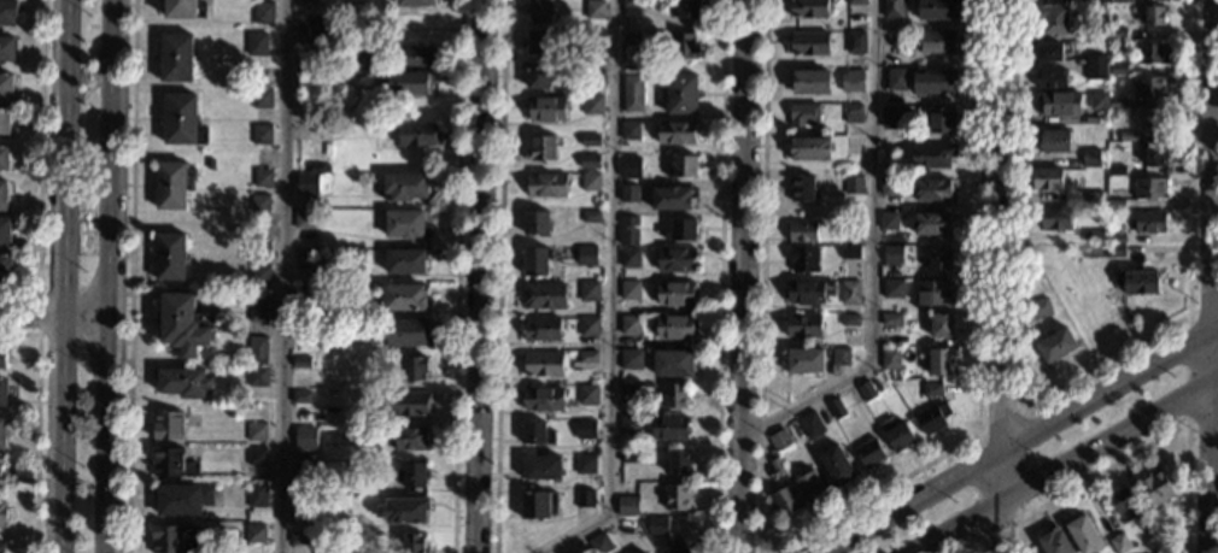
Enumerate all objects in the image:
building: (306, 0)
building: (1120, 0)
building: (855, 1)
building: (414, 2)
building: (631, 2)
building: (595, 4)
building: (892, 7)
building: (183, 8)
building: (686, 8)
building: (809, 8)
building: (937, 8)
building: (539, 10)
building: (7, 12)
building: (263, 12)
building: (1154, 14)
building: (1052, 19)
building: (308, 28)
building: (1096, 31)
building: (595, 34)
building: (1117, 34)
building: (889, 36)
building: (632, 37)
building: (538, 41)
building: (938, 41)
building: (809, 42)
building: (855, 42)
building: (257, 43)
building: (683, 46)
building: (7, 48)
building: (1048, 52)
building: (1150, 53)
building: (420, 55)
building: (176, 58)
building: (306, 60)
building: (578, 65)
building: (1095, 66)
building: (1117, 69)
building: (538, 75)
building: (853, 75)
building: (896, 78)
building: (1049, 78)
building: (311, 81)
building: (809, 81)
building: (406, 82)
building: (932, 82)
building: (6, 86)
building: (1150, 87)
building: (632, 92)
building: (681, 94)
building: (262, 98)
building: (1058, 101)
building: (1097, 101)
building: (1117, 101)
building: (592, 105)
building: (545, 108)
building: (312, 111)
building: (851, 113)
building: (803, 114)
building: (892, 117)
building: (181, 119)
building: (1156, 119)
building: (941, 120)
building: (4, 122)
building: (630, 130)
building: (312, 131)
building: (675, 131)
building: (262, 134)
building: (418, 134)
building: (1128, 136)
building: (590, 140)
building: (1054, 141)
building: (851, 145)
building: (539, 148)
building: (808, 148)
building: (932, 155)
building: (1154, 155)
building: (1090, 157)
building: (4, 158)
building: (590, 160)
building: (631, 160)
road: (39, 164)
building: (681, 165)
building: (315, 167)
building: (1115, 170)
building: (262, 177)
building: (1044, 177)
building: (590, 181)
building: (889, 182)
building: (172, 183)
building: (308, 183)
building: (546, 184)
building: (853, 184)
building: (405, 186)
building: (1149, 188)
building: (801, 189)
building: (931, 190)
building: (630, 193)
building: (2, 195)
building: (672, 198)
building: (1095, 199)
building: (259, 202)
building: (1115, 205)
building: (591, 216)
building: (1053, 218)
building: (304, 219)
building: (628, 220)
building: (889, 220)
building: (535, 222)
building: (1149, 222)
building: (932, 223)
building: (405, 224)
road: (1002, 225)
building: (4, 230)
building: (681, 230)
building: (801, 231)
building: (850, 231)
building: (628, 236)
building: (1094, 236)
building: (1115, 237)
building: (260, 249)
building: (1115, 251)
building: (849, 252)
building: (892, 254)
building: (586, 255)
building: (170, 257)
road: (869, 257)
building: (321, 258)
building: (631, 258)
building: (803, 258)
building: (939, 258)
building: (304, 259)
building: (675, 259)
building: (405, 260)
building: (535, 260)
building: (6, 267)
building: (259, 275)
road: (59, 276)
road: (106, 276)
road: (130, 276)
road: (282, 276)
road: (456, 276)
road: (475, 276)
road: (498, 276)
road: (720, 276)
road: (739, 276)
road: (761, 276)
road: (1210, 276)
building: (1136, 282)
building: (892, 288)
building: (630, 289)
building: (588, 290)
building: (809, 290)
building: (674, 292)
building: (850, 292)
building: (935, 292)
building: (303, 293)
road: (609, 294)
building: (543, 295)
building: (403, 296)
road: (1020, 302)
building: (257, 306)
building: (1040, 307)
road: (37, 312)
road: (52, 314)
building: (850, 319)
building: (891, 319)
building: (185, 323)
building: (630, 324)
building: (803, 324)
building: (588, 325)
building: (674, 325)
building: (941, 325)
building: (540, 328)
building: (301, 329)
building: (404, 331)
road: (978, 335)
building: (1055, 346)
building: (257, 351)
building: (844, 355)
building: (2, 357)
building: (587, 357)
building: (630, 358)
building: (890, 358)
building: (803, 359)
building: (939, 360)
building: (301, 361)
building: (672, 361)
building: (543, 364)
building: (414, 367)
road: (1187, 370)
building: (257, 376)
building: (183, 382)
building: (630, 389)
building: (931, 389)
building: (865, 390)
road: (1108, 390)
building: (2, 392)
building: (586, 393)
building: (674, 395)
building: (301, 396)
building: (544, 399)
building: (408, 404)
building: (836, 407)
building: (932, 418)
road: (36, 424)
building: (631, 424)
building: (810, 424)
building: (168, 425)
building: (669, 426)
building: (585, 428)
building: (257, 431)
building: (300, 431)
building: (537, 433)
building: (2, 434)
building: (896, 434)
road: (1107, 434)
building: (409, 439)
building: (778, 440)
road: (1142, 446)
building: (871, 452)
building: (256, 457)
building: (628, 457)
building: (171, 463)
building: (679, 463)
building: (585, 464)
building: (836, 464)
building: (541, 467)
building: (774, 467)
building: (1, 473)
building: (412, 475)
road: (1000, 475)
building: (304, 476)
building: (810, 487)
building: (1154, 489)
building: (257, 494)
building: (677, 496)
building: (584, 498)
building: (182, 499)
building: (783, 501)
road: (914, 502)
building: (539, 504)
building: (627, 505)
building: (1123, 505)
building: (304, 508)
building: (404, 511)
building: (2, 514)
road: (1017, 518)
road: (949, 524)
road: (999, 524)
building: (657, 525)
building: (1149, 525)
building: (1165, 525)
building: (254, 534)
building: (1083, 535)
building: (174, 539)
building: (300, 539)
building: (414, 542)
building: (598, 542)
building: (1055, 542)
building: (1118, 543)
road: (970, 545)
building: (671, 546)
building: (1, 547)
building: (643, 552)
building: (645, 552)

